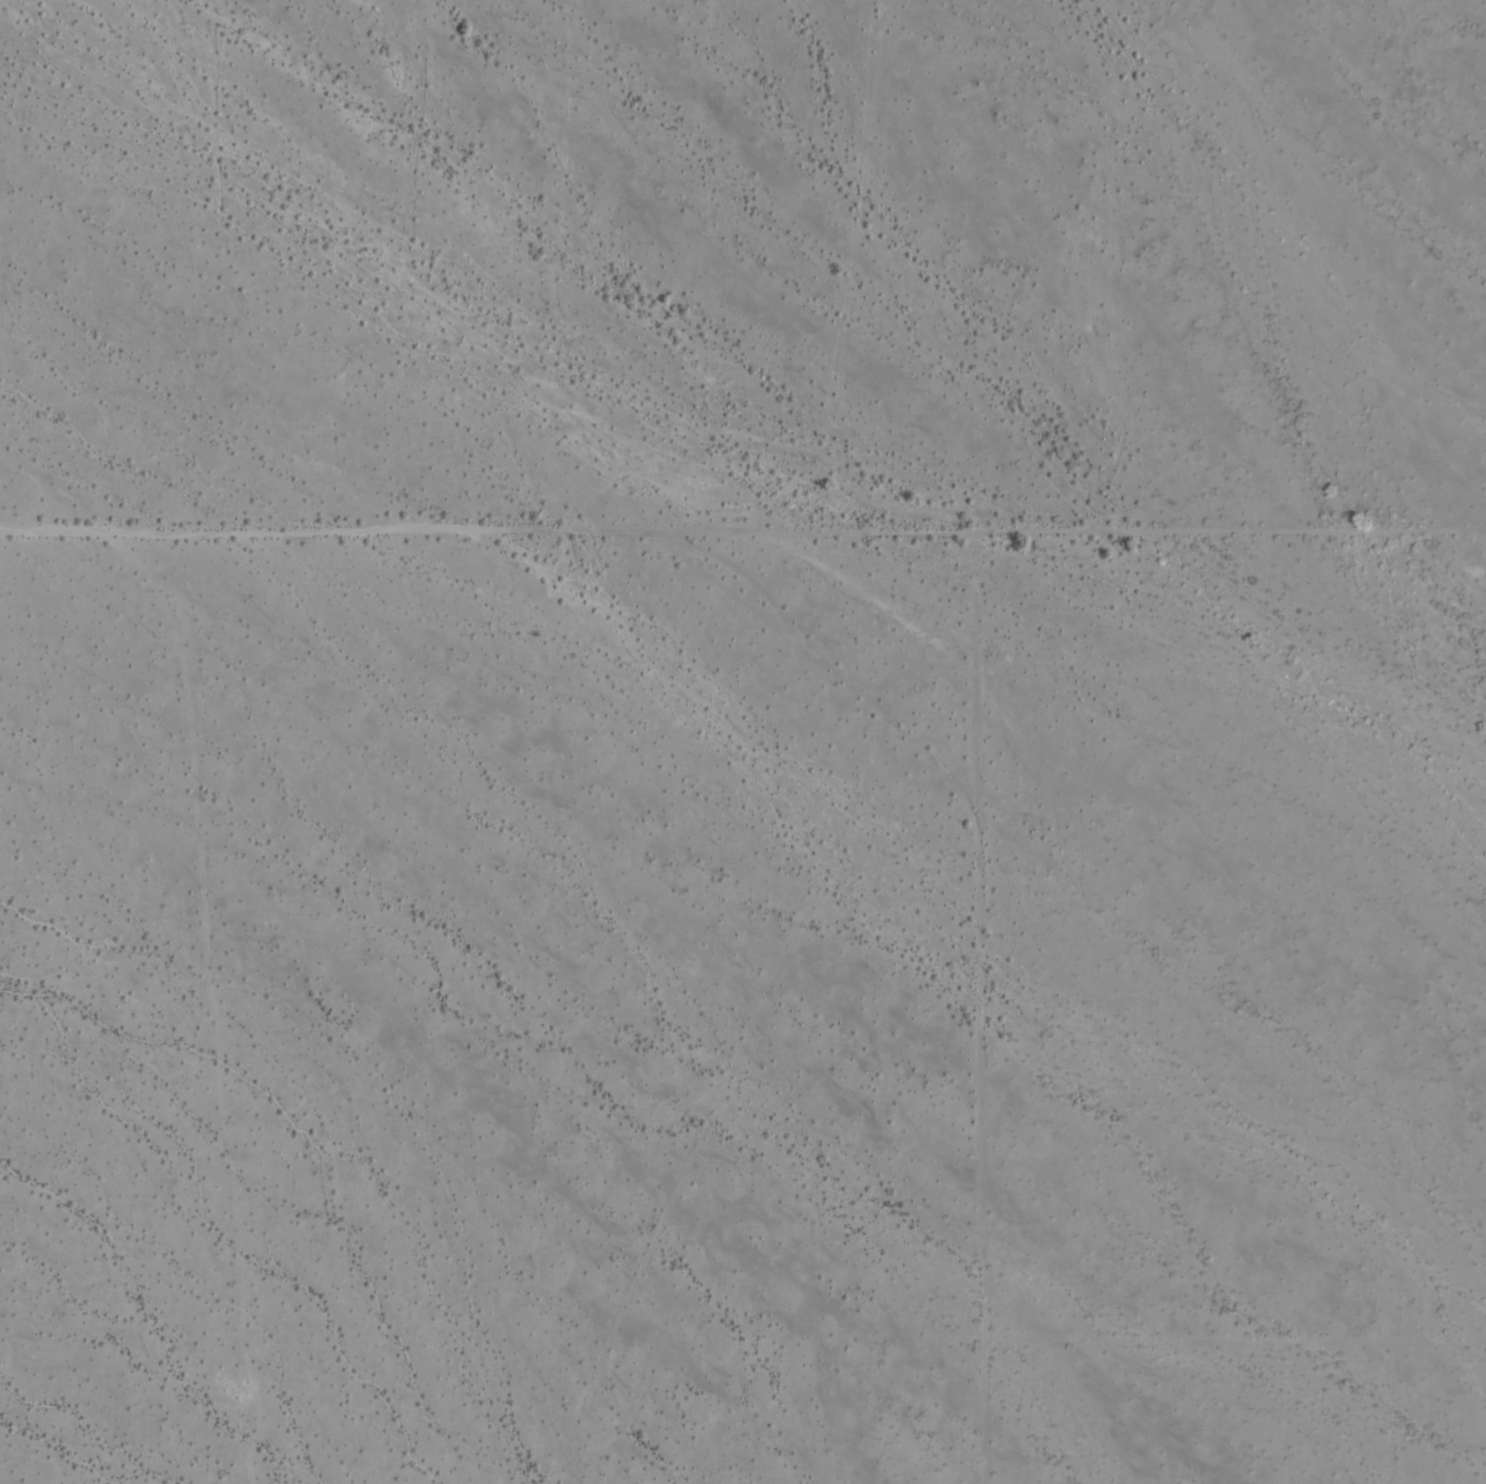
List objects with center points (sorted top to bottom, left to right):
road: (742, 507)
road: (956, 994)
road: (1223, 1338)
road: (1363, 1412)

